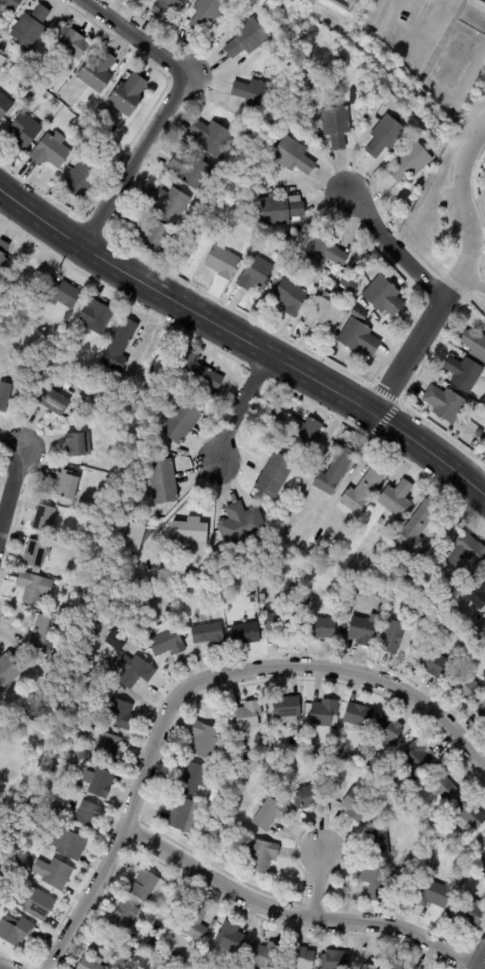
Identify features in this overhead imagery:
building: (133, 0)
building: (9, 6)
building: (167, 7)
building: (208, 13)
building: (30, 28)
building: (247, 38)
building: (70, 41)
building: (13, 70)
building: (97, 72)
building: (304, 84)
building: (129, 95)
building: (255, 95)
building: (29, 99)
building: (4, 105)
road: (168, 107)
building: (337, 126)
parking lot: (471, 126)
building: (25, 131)
building: (386, 137)
building: (211, 138)
building: (50, 151)
building: (293, 156)
building: (413, 163)
building: (189, 170)
building: (83, 176)
building: (170, 203)
building: (281, 211)
parking lot: (450, 212)
road: (466, 215)
building: (152, 233)
road: (395, 249)
building: (327, 250)
building: (3, 255)
building: (223, 262)
building: (392, 271)
building: (256, 275)
building: (22, 280)
road: (473, 282)
building: (64, 292)
building: (382, 296)
building: (292, 297)
building: (346, 297)
building: (348, 309)
building: (358, 313)
building: (324, 314)
building: (96, 317)
building: (359, 338)
road: (244, 340)
building: (475, 344)
building: (119, 345)
road: (408, 357)
building: (196, 369)
building: (465, 372)
building: (4, 393)
building: (129, 396)
building: (54, 400)
building: (117, 401)
building: (445, 403)
road: (238, 407)
building: (182, 420)
building: (295, 425)
building: (465, 439)
building: (75, 444)
building: (334, 472)
building: (274, 475)
road: (11, 477)
building: (163, 480)
building: (68, 484)
building: (364, 489)
building: (397, 498)
building: (371, 508)
building: (44, 518)
building: (381, 521)
building: (241, 523)
building: (417, 525)
building: (396, 526)
building: (189, 534)
building: (133, 538)
building: (466, 550)
building: (32, 553)
building: (35, 587)
building: (478, 591)
building: (182, 596)
building: (64, 610)
building: (484, 621)
building: (283, 624)
building: (322, 628)
building: (361, 629)
building: (38, 631)
building: (208, 632)
building: (245, 632)
building: (393, 636)
building: (466, 636)
building: (166, 641)
building: (423, 649)
building: (484, 649)
building: (119, 650)
building: (434, 663)
building: (8, 668)
building: (134, 671)
road: (194, 682)
building: (465, 685)
building: (5, 707)
building: (287, 707)
building: (324, 712)
building: (482, 712)
building: (120, 714)
building: (249, 715)
building: (359, 715)
building: (389, 729)
building: (16, 732)
building: (23, 732)
building: (206, 742)
building: (108, 747)
building: (327, 749)
building: (243, 754)
building: (418, 755)
building: (352, 758)
building: (370, 762)
building: (337, 766)
building: (192, 778)
building: (98, 781)
building: (444, 782)
building: (398, 787)
building: (225, 790)
building: (311, 796)
building: (217, 798)
building: (358, 804)
building: (178, 811)
building: (470, 811)
building: (55, 813)
building: (215, 813)
building: (270, 813)
building: (88, 814)
building: (224, 821)
building: (46, 822)
building: (221, 834)
building: (483, 842)
building: (69, 844)
building: (29, 845)
building: (379, 845)
building: (473, 853)
building: (261, 855)
building: (412, 868)
building: (53, 873)
building: (9, 875)
building: (376, 882)
building: (484, 884)
road: (315, 885)
building: (146, 886)
building: (433, 894)
building: (37, 903)
building: (467, 911)
road: (295, 913)
building: (125, 915)
building: (196, 924)
building: (15, 931)
building: (230, 939)
building: (121, 942)
building: (119, 951)
building: (264, 955)
building: (301, 958)
building: (335, 960)
road: (480, 961)
building: (90, 963)
building: (397, 965)
road: (1, 968)

